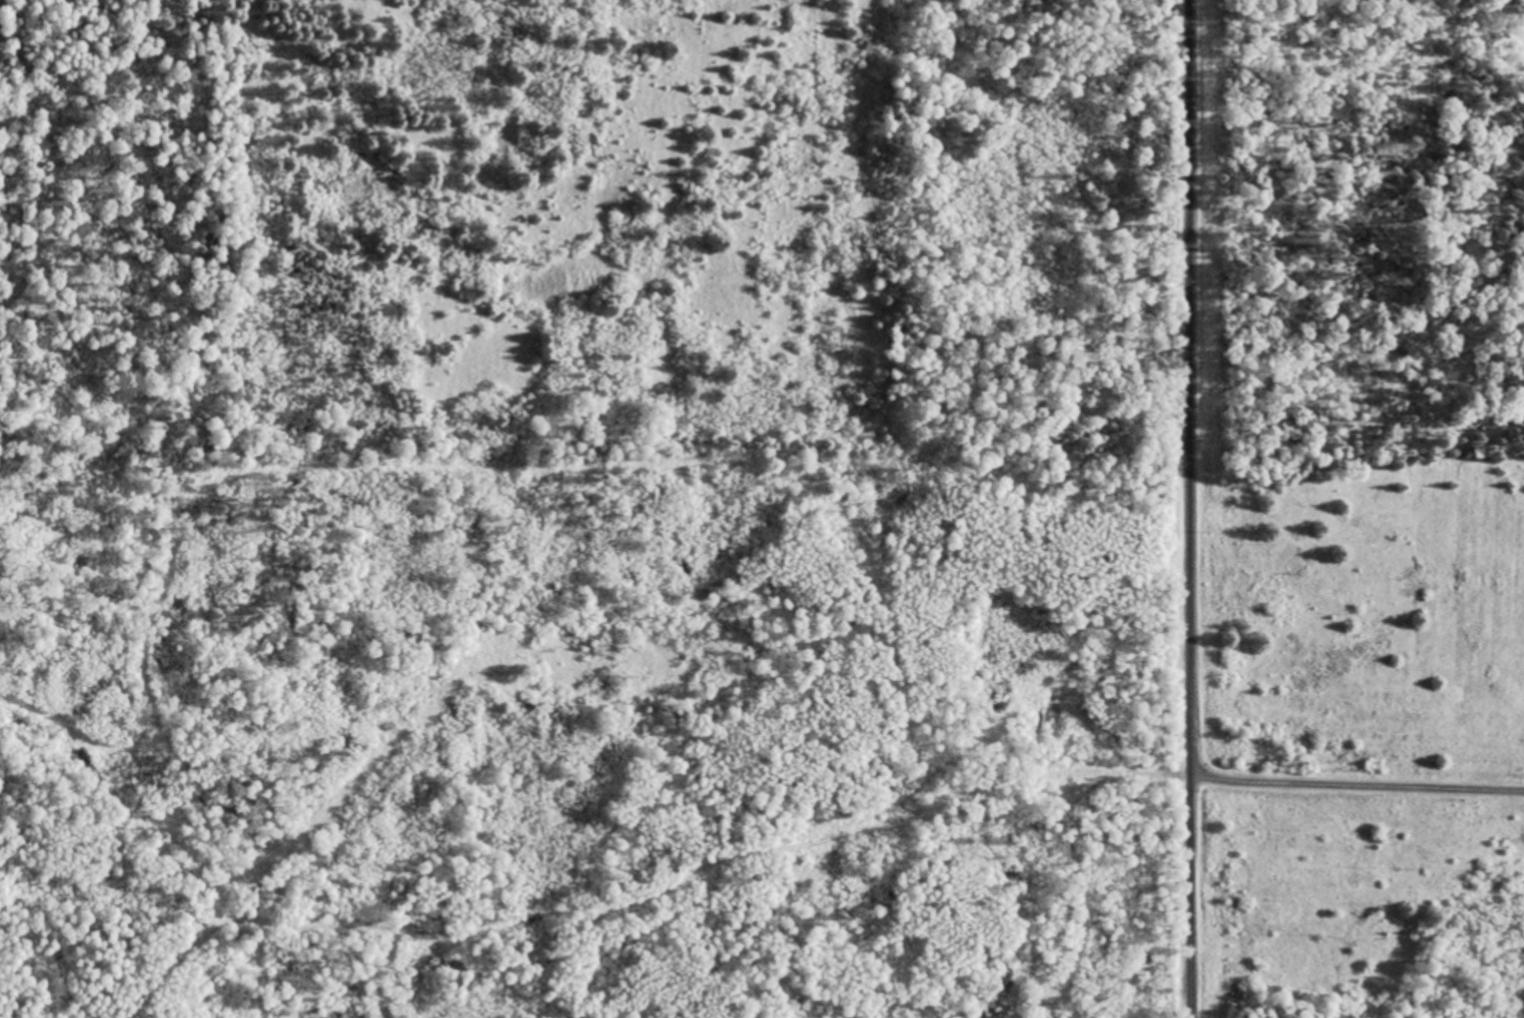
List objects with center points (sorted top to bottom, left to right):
road: (1190, 508)
road: (1357, 785)

